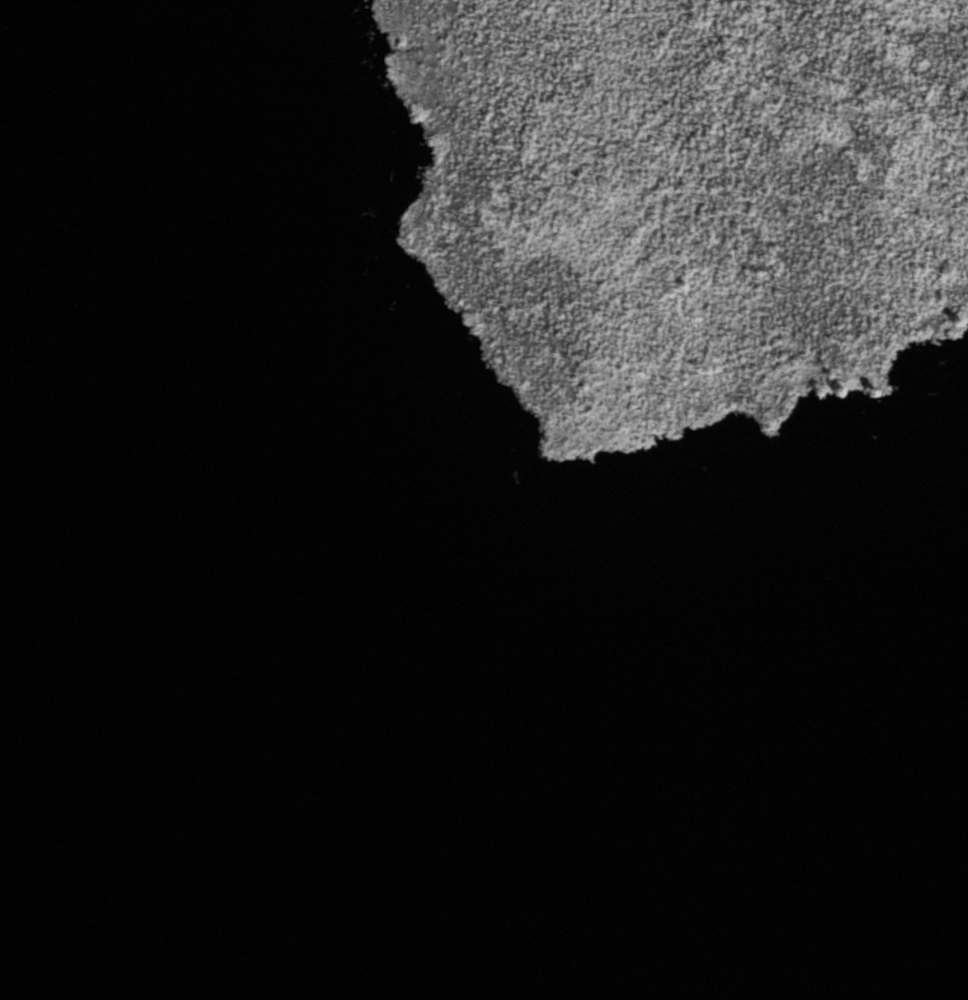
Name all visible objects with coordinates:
river: (209, 779)
river: (911, 959)

